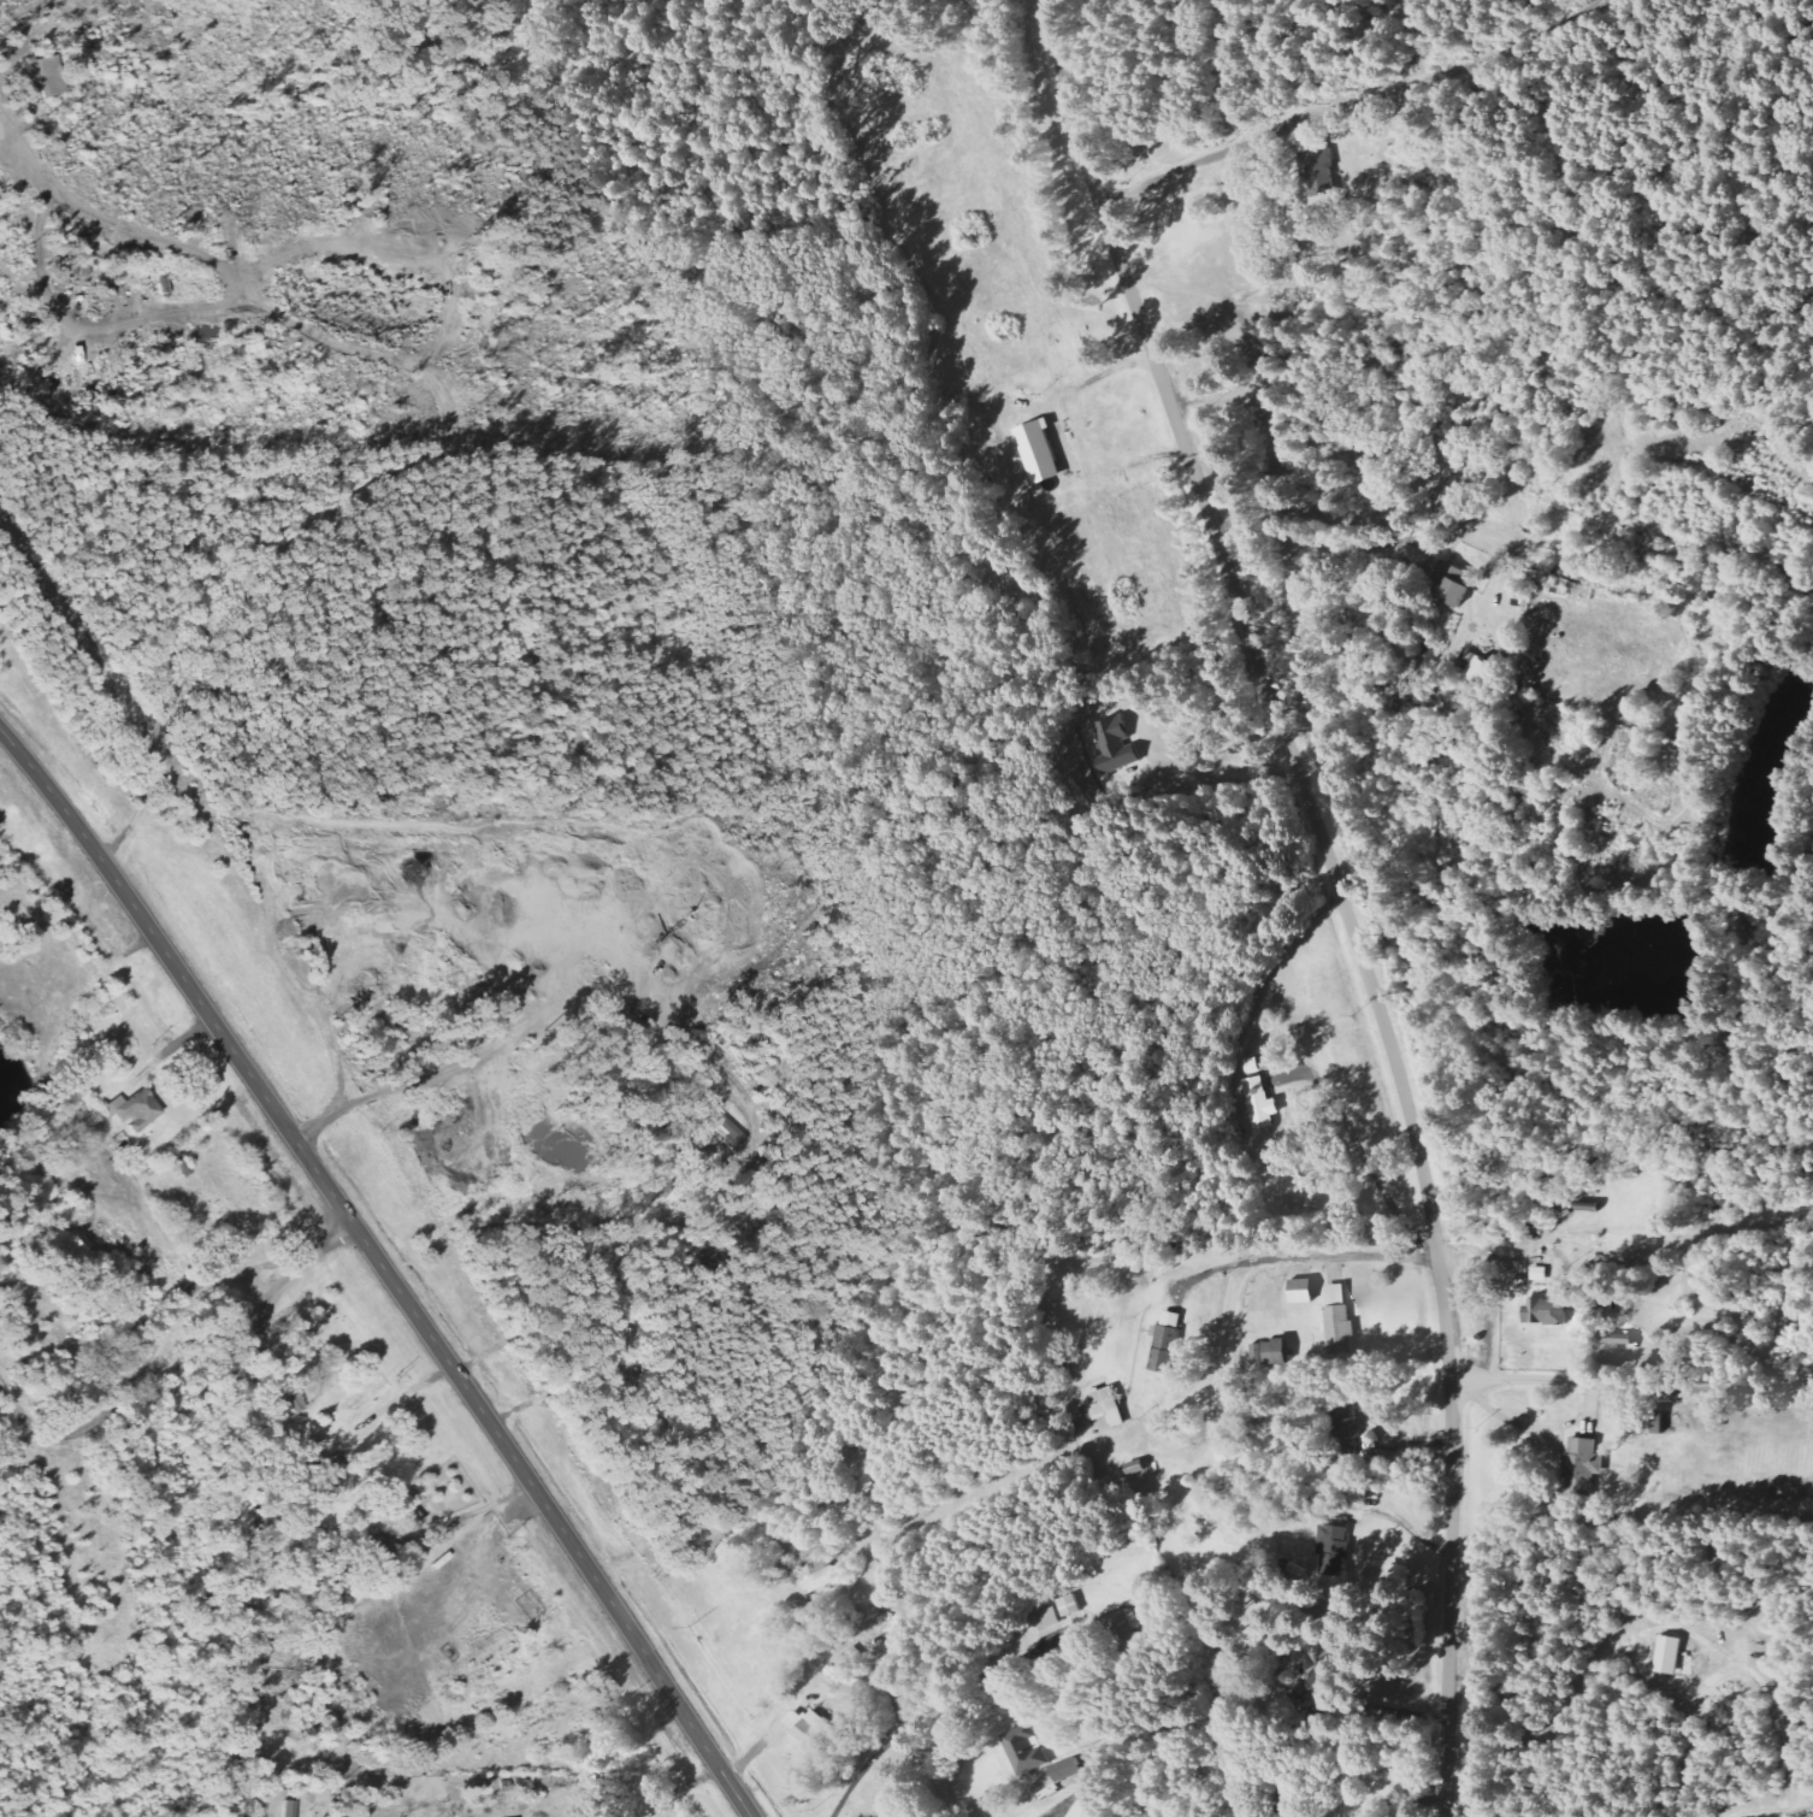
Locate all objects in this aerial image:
building: (47, 76)
building: (1039, 449)
building: (1449, 582)
building: (1478, 673)
building: (1115, 742)
road: (1340, 892)
road: (1286, 937)
building: (1257, 1097)
building: (132, 1110)
building: (733, 1133)
road: (1328, 1253)
road: (382, 1268)
building: (1540, 1274)
building: (1301, 1290)
building: (1546, 1311)
building: (1618, 1340)
building: (1167, 1343)
road: (1632, 1382)
building: (1106, 1405)
building: (1712, 1415)
building: (1655, 1422)
building: (1347, 1426)
building: (1583, 1465)
building: (333, 1474)
road: (262, 1499)
building: (1335, 1541)
building: (1116, 1632)
building: (1669, 1654)
building: (1316, 1668)
road: (927, 1709)
building: (810, 1730)
building: (1023, 1748)
building: (1061, 1769)
building: (288, 1809)
building: (1080, 1810)

